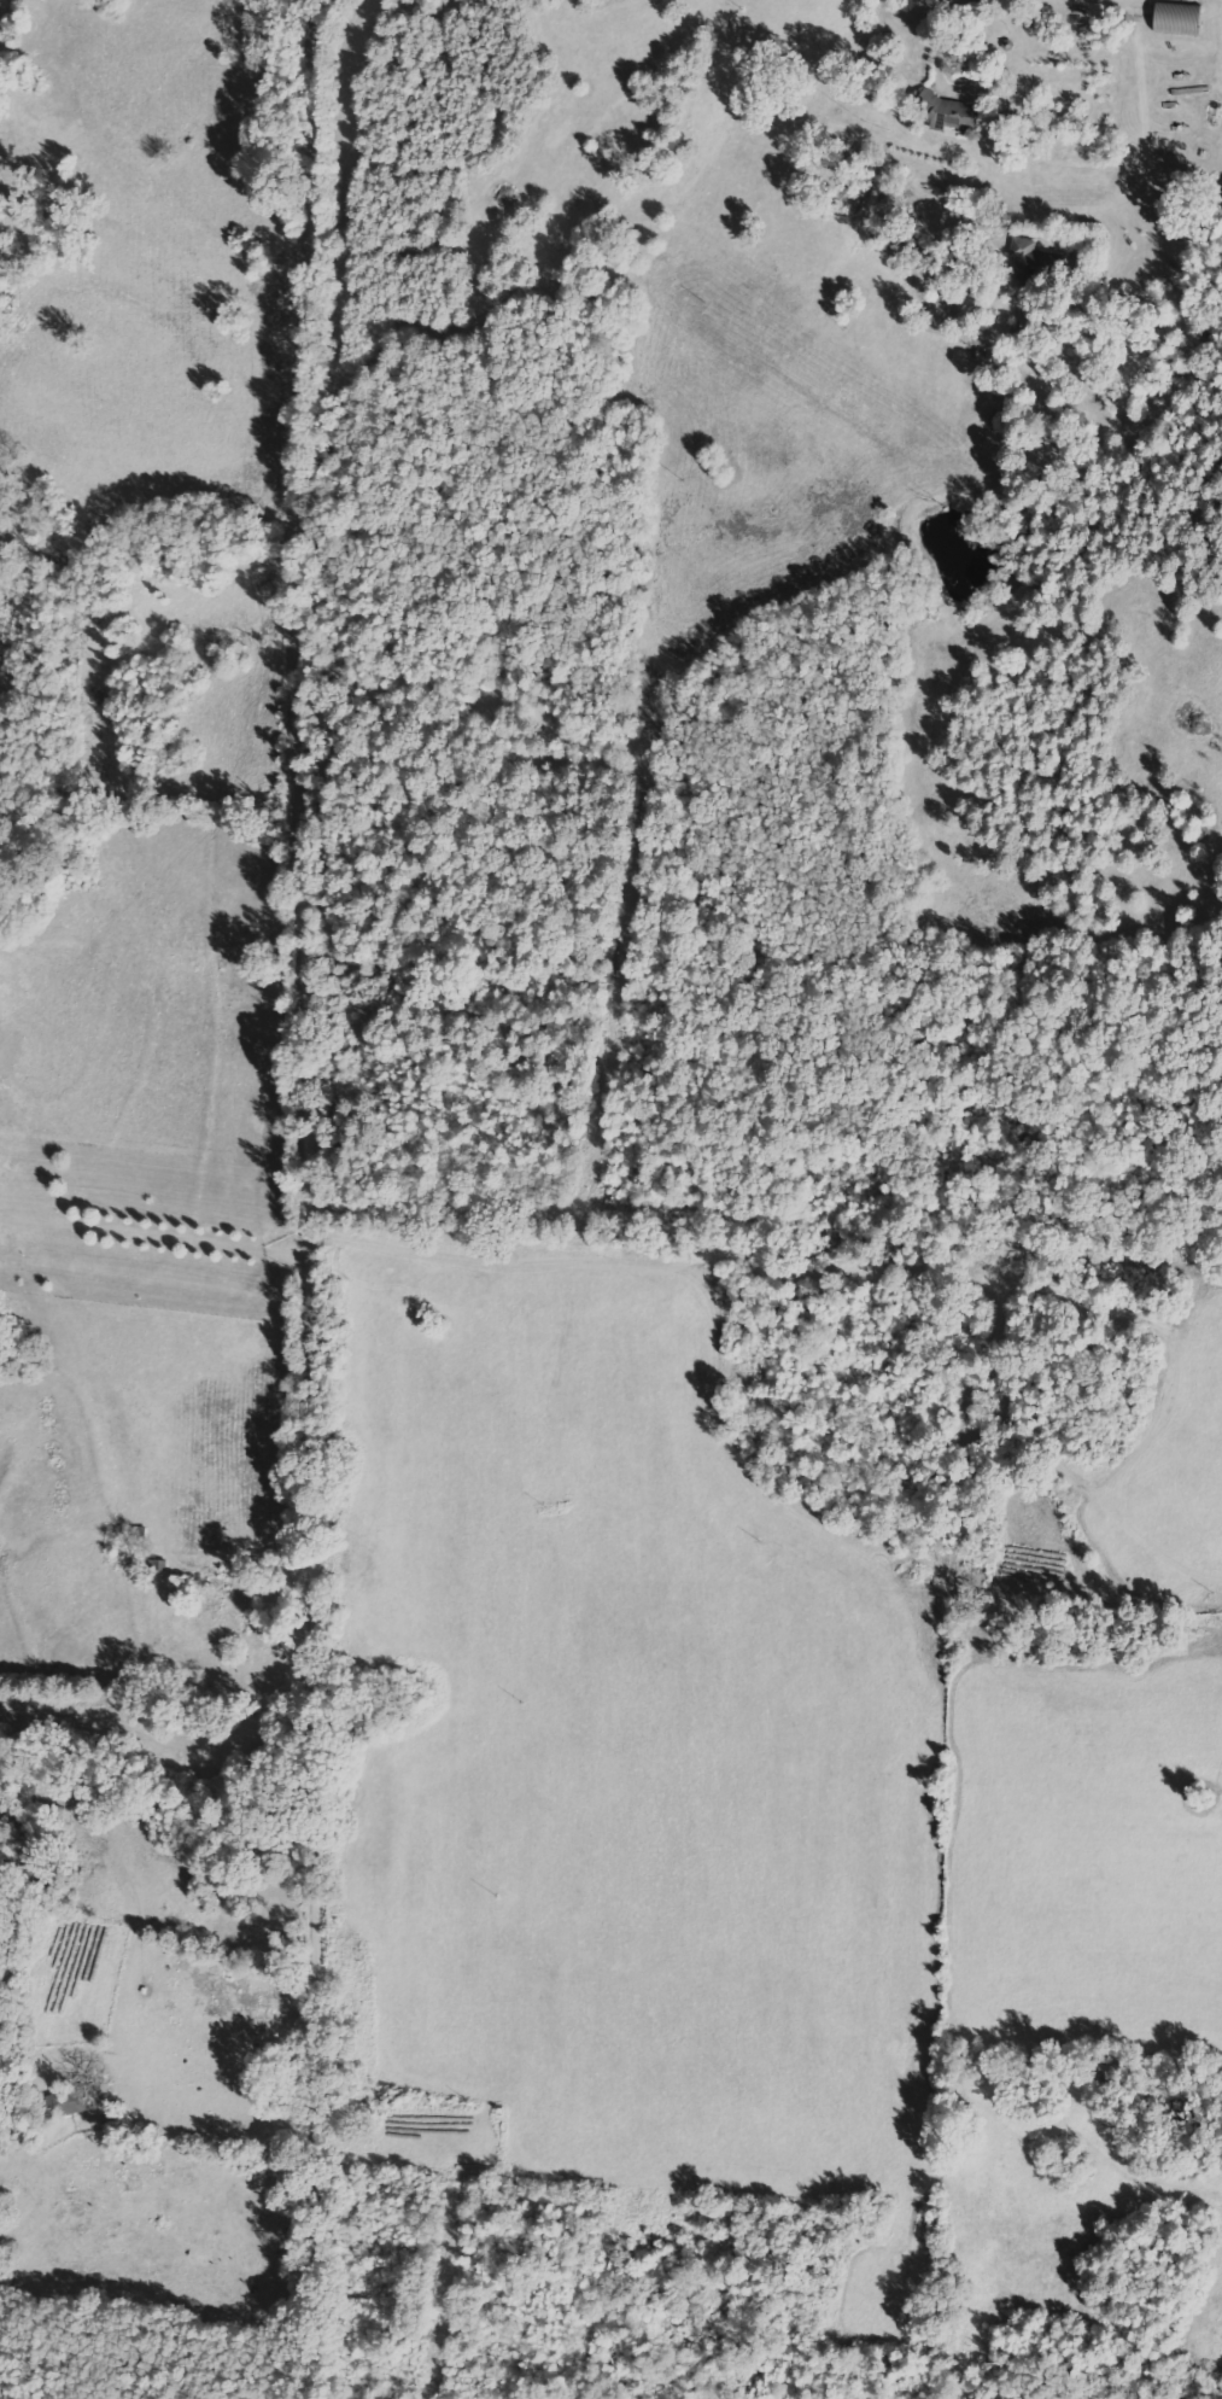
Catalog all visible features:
road: (340, 10)
building: (1179, 18)
building: (1031, 262)
road: (293, 1192)
road: (156, 1711)

